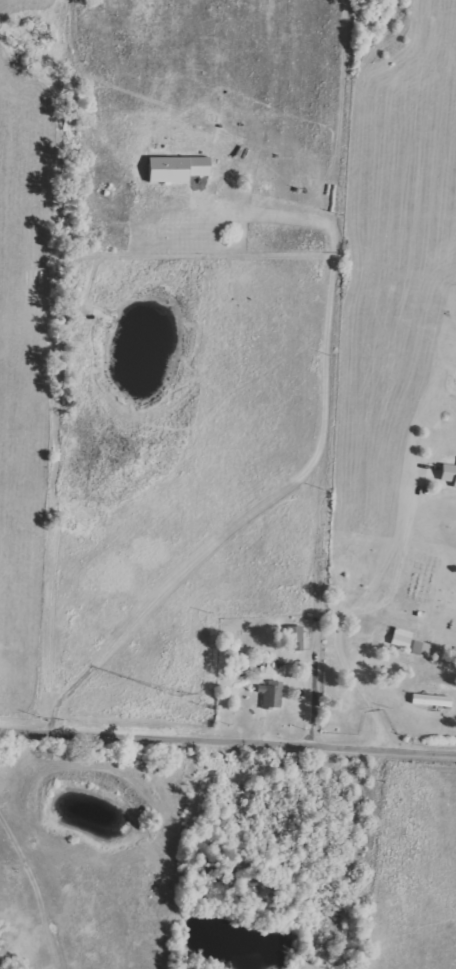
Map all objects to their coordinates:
building: (179, 169)
building: (449, 474)
road: (352, 614)
building: (294, 634)
building: (402, 638)
building: (421, 649)
building: (271, 695)
building: (433, 701)
road: (227, 737)

